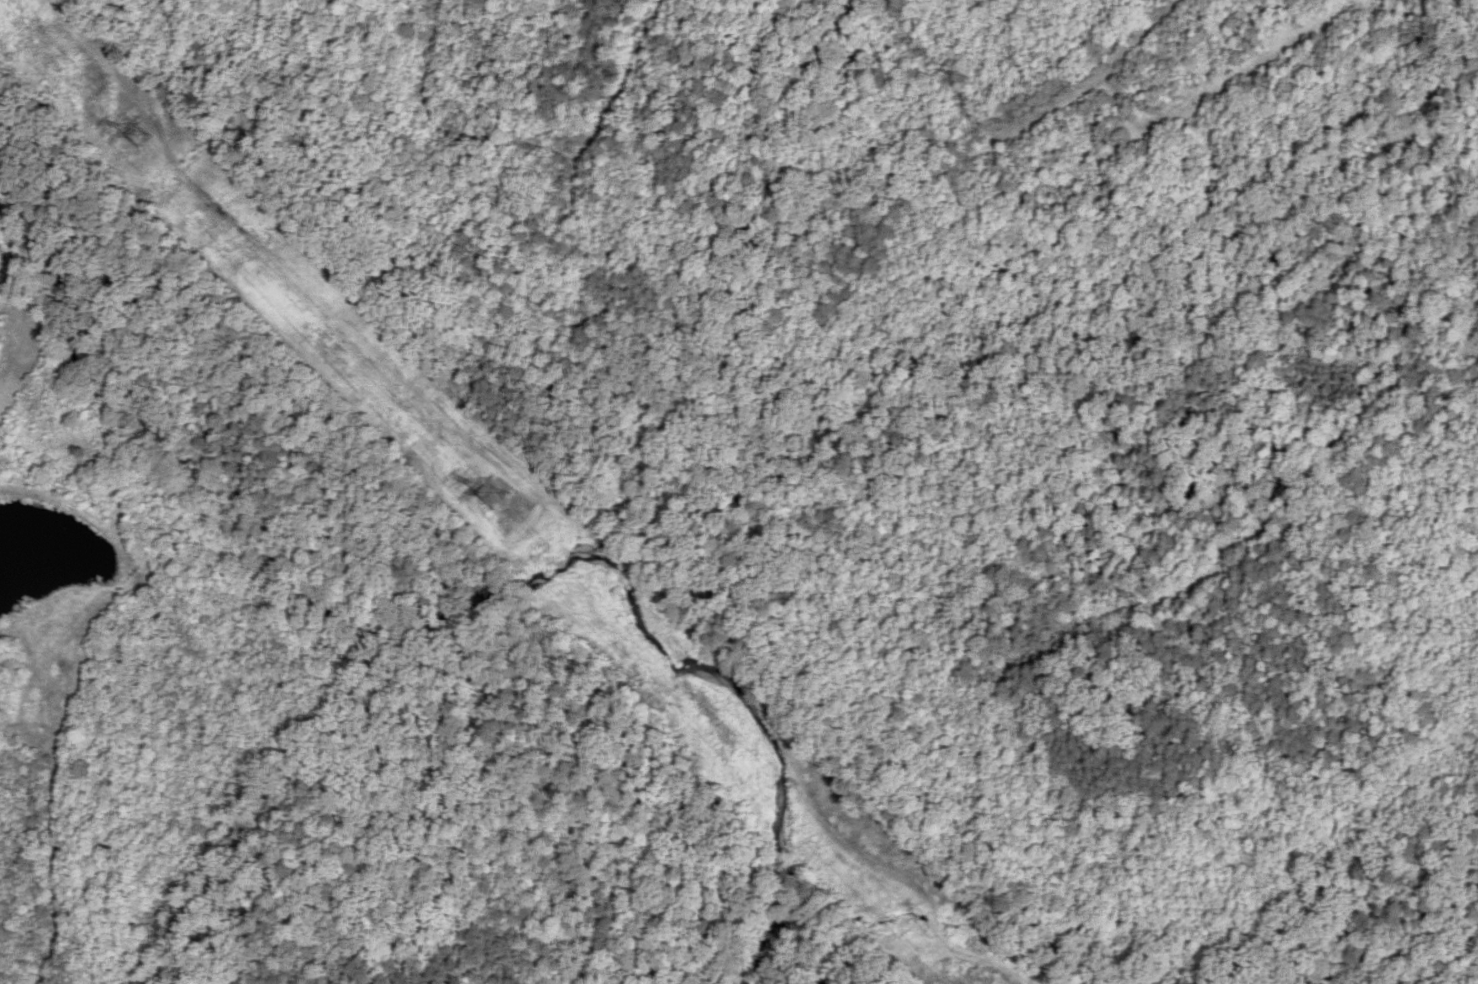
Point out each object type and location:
power tower: (141, 137)
power tower: (502, 502)

